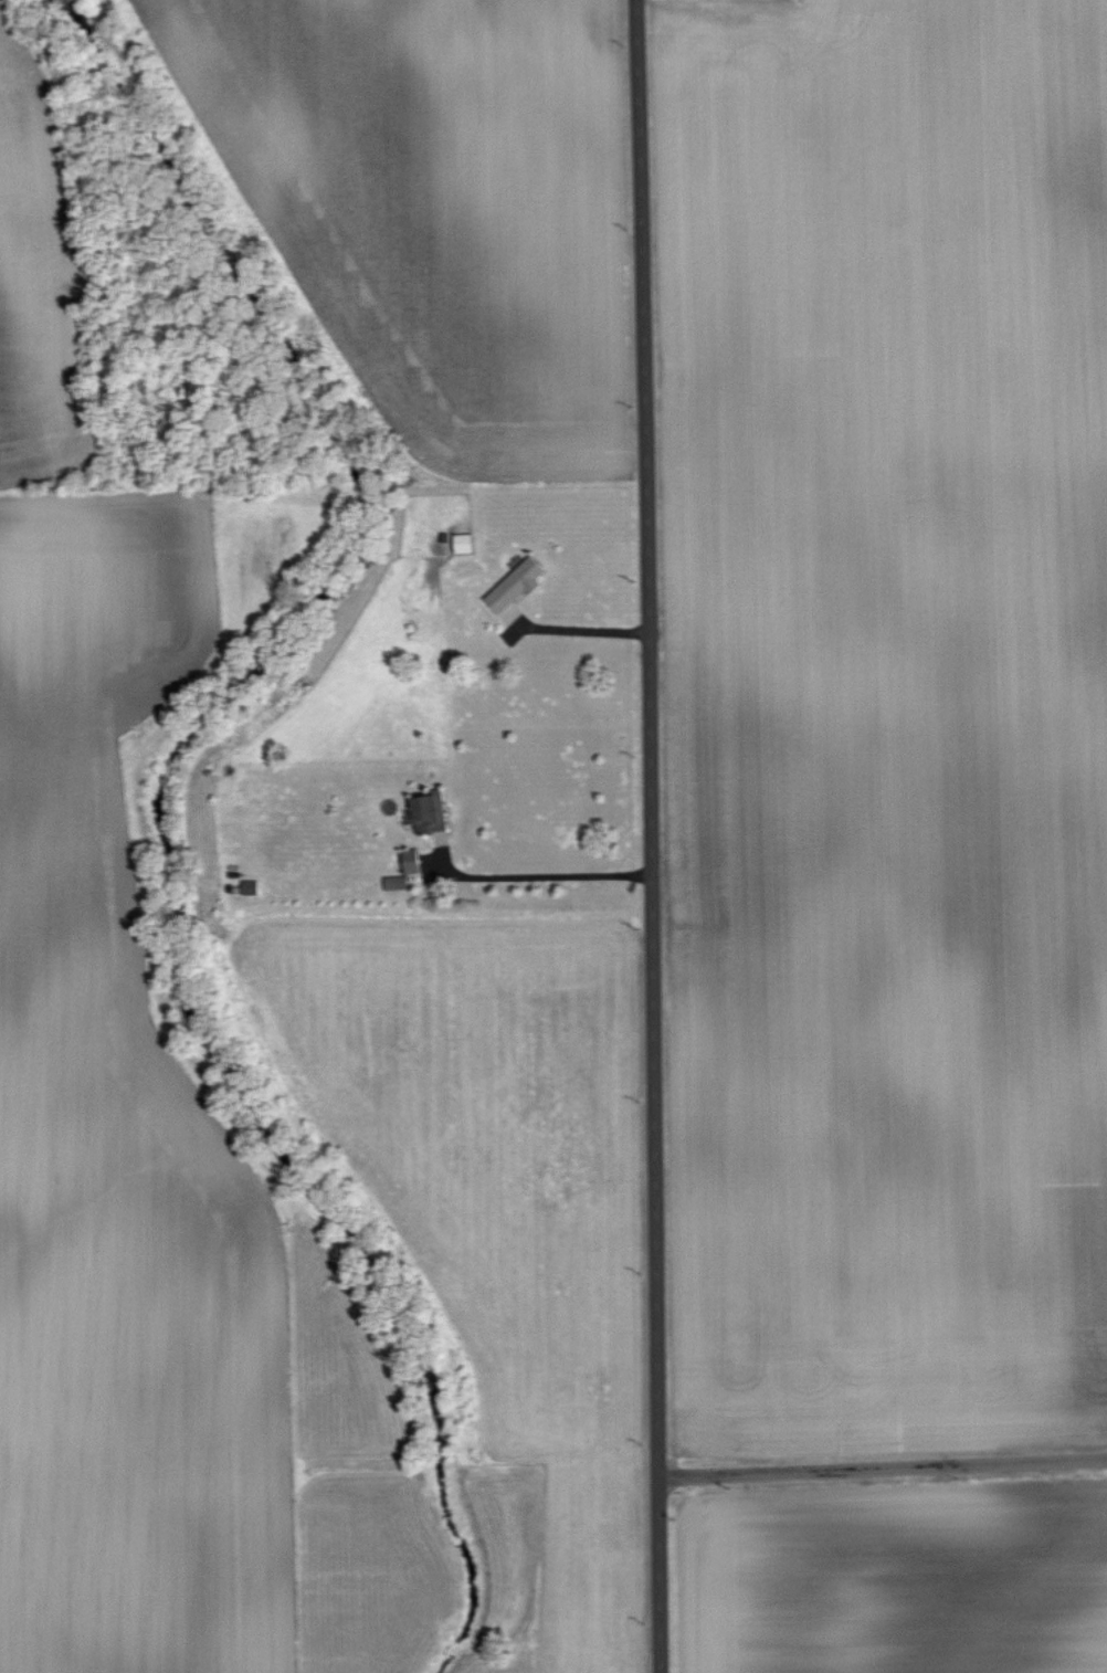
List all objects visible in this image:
building: (465, 543)
building: (517, 583)
road: (582, 630)
building: (432, 810)
road: (651, 835)
building: (412, 860)
road: (536, 875)
building: (396, 882)
building: (250, 886)
road: (876, 1466)

